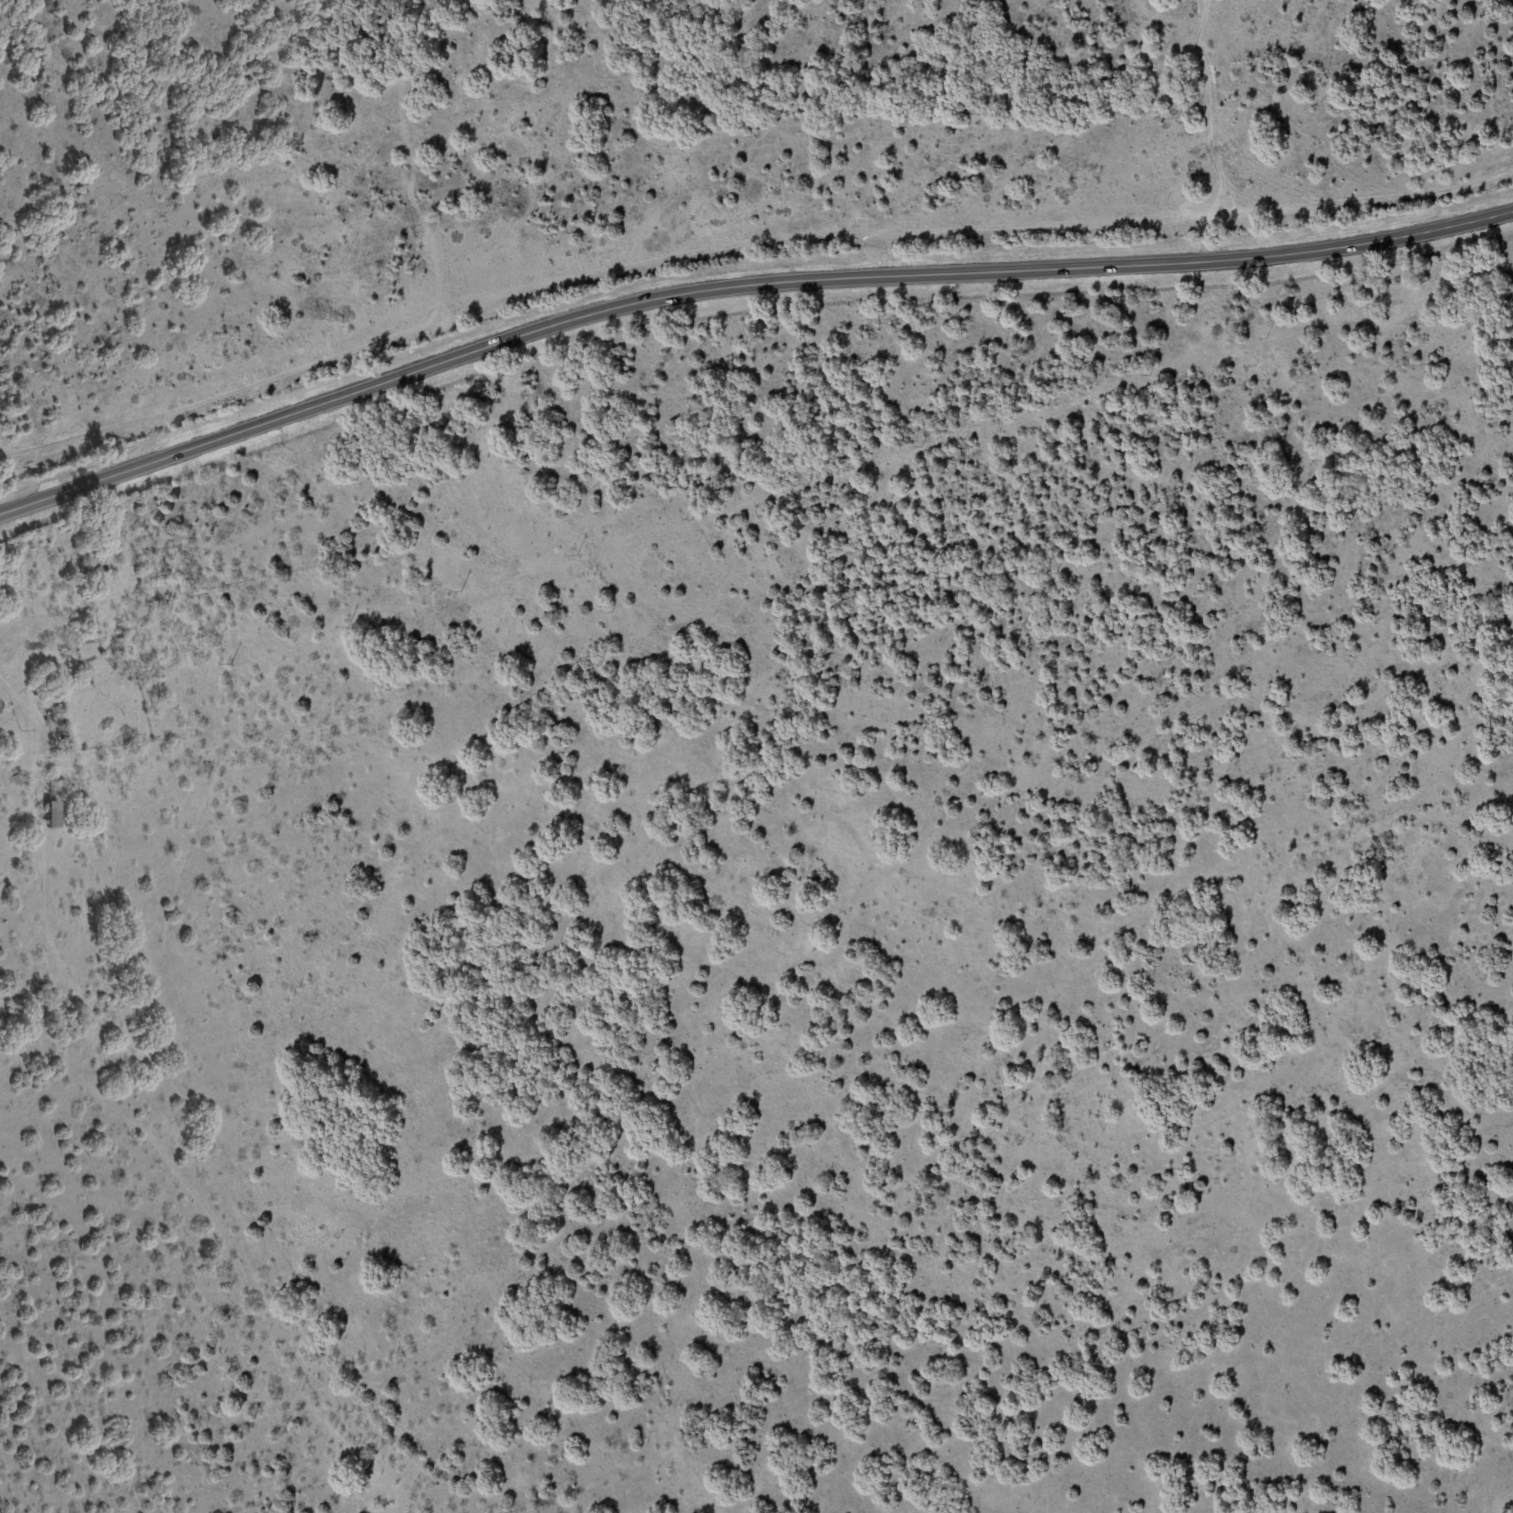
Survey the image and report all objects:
road: (740, 283)

